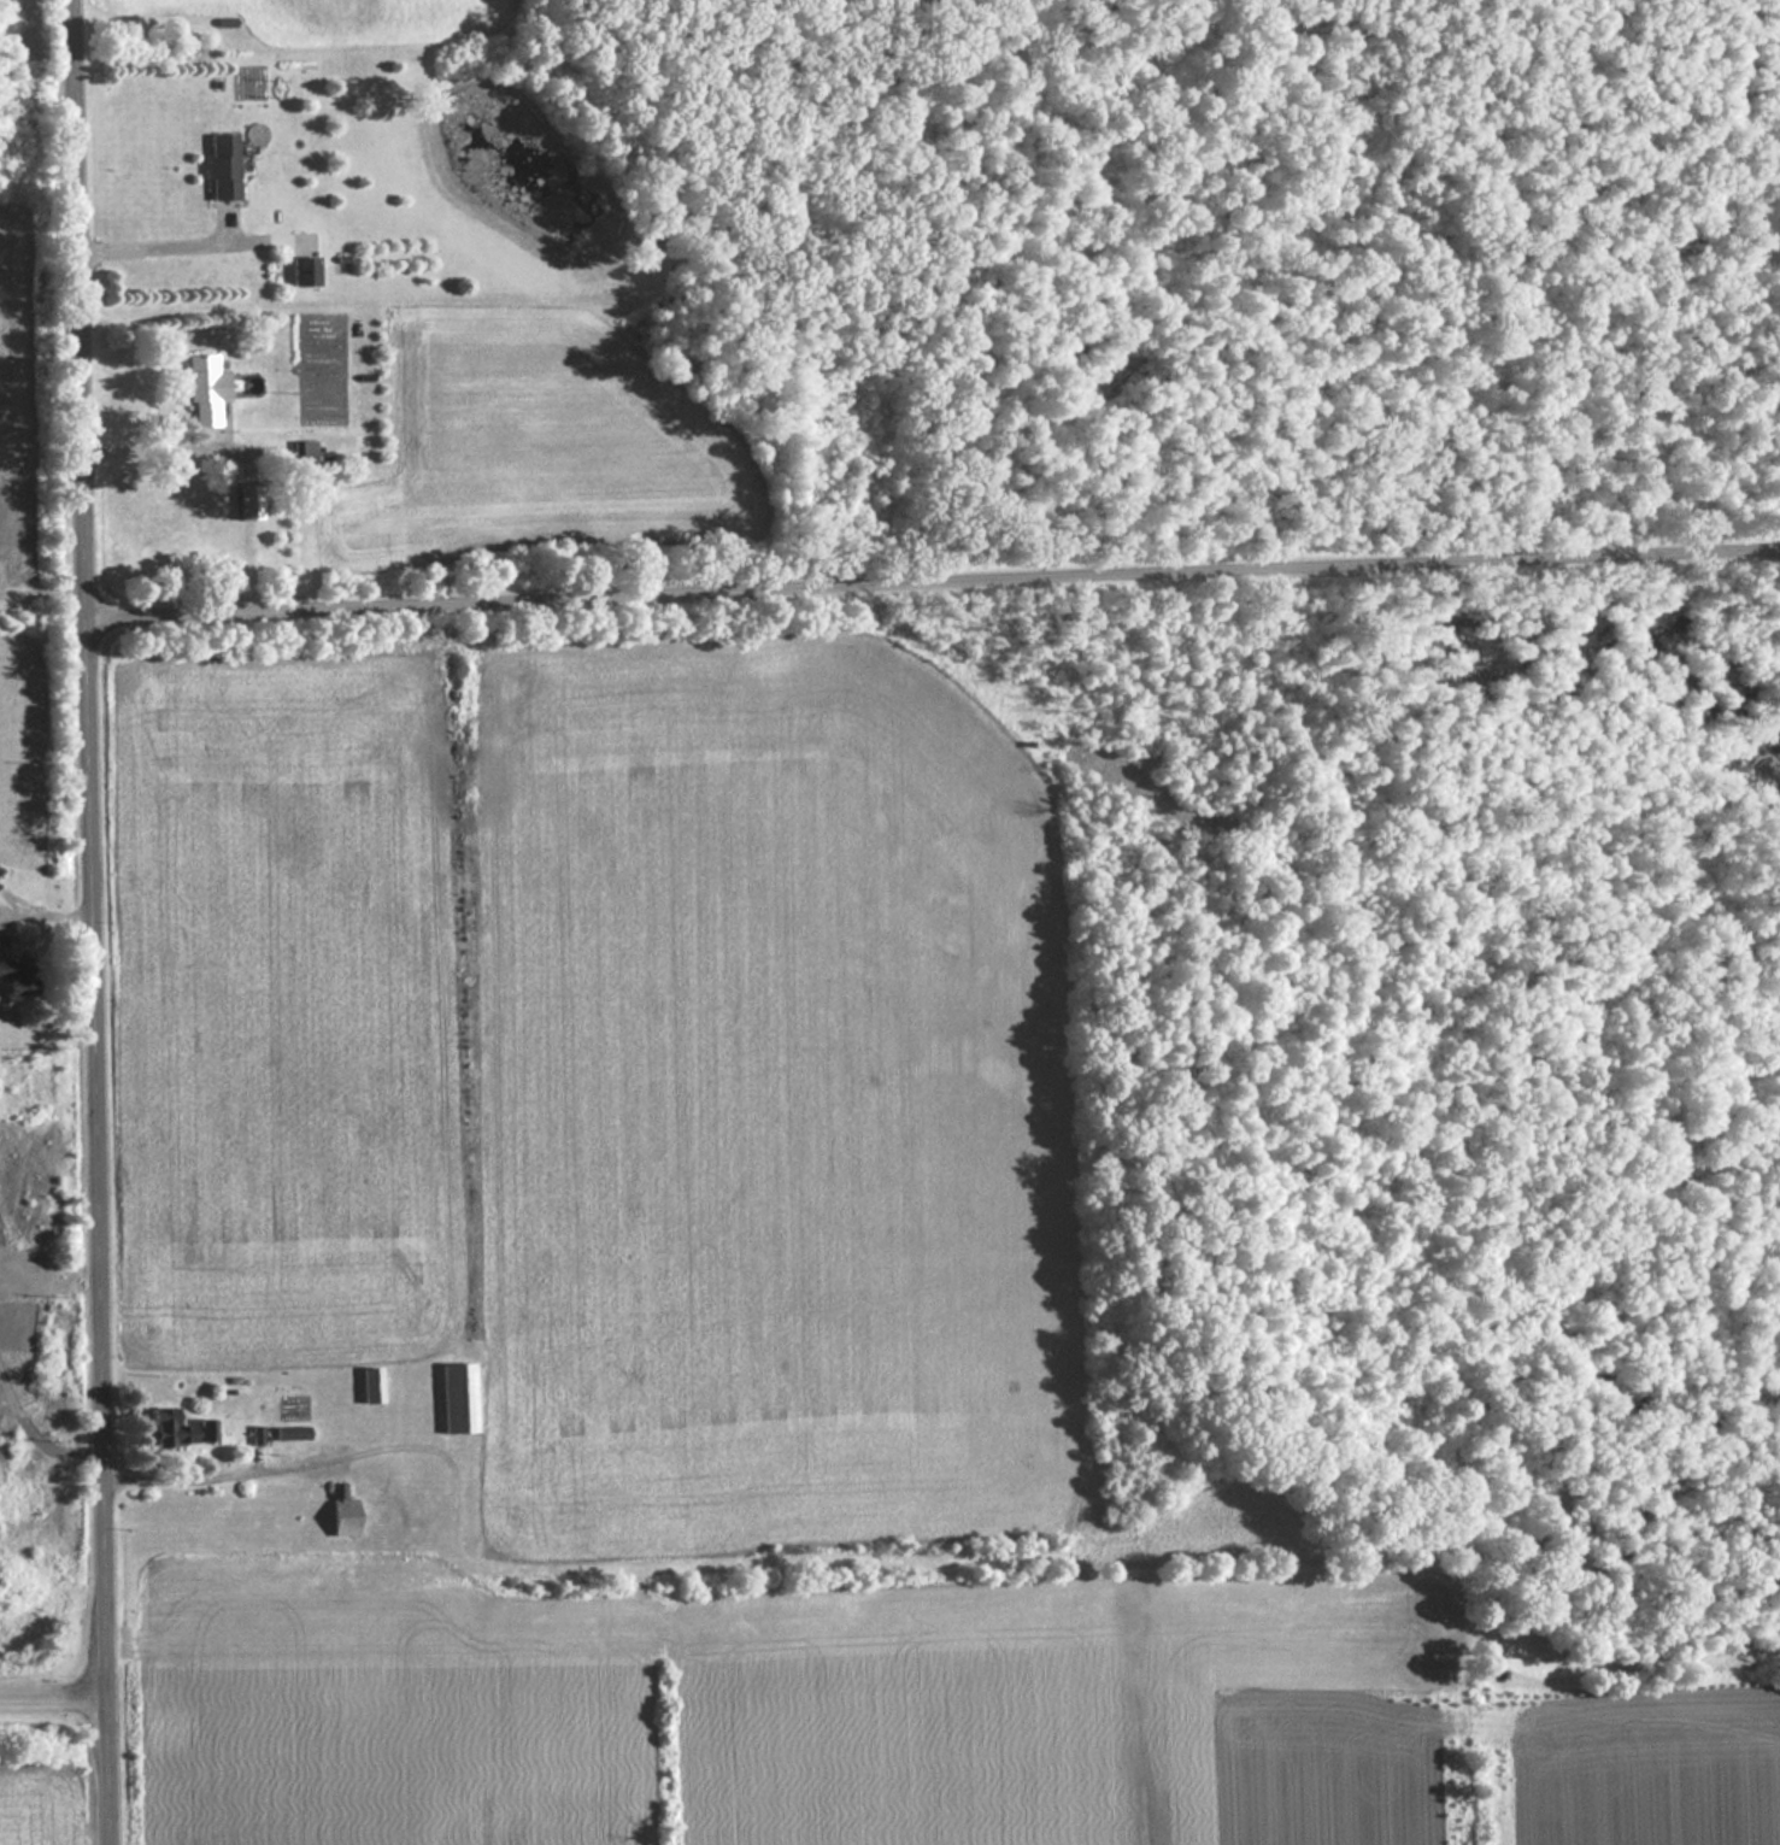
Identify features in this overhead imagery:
building: (222, 166)
building: (304, 271)
building: (202, 389)
building: (305, 458)
building: (247, 503)
road: (929, 593)
road: (86, 922)
building: (16, 976)
building: (370, 1386)
building: (457, 1399)
building: (177, 1430)
building: (342, 1515)

